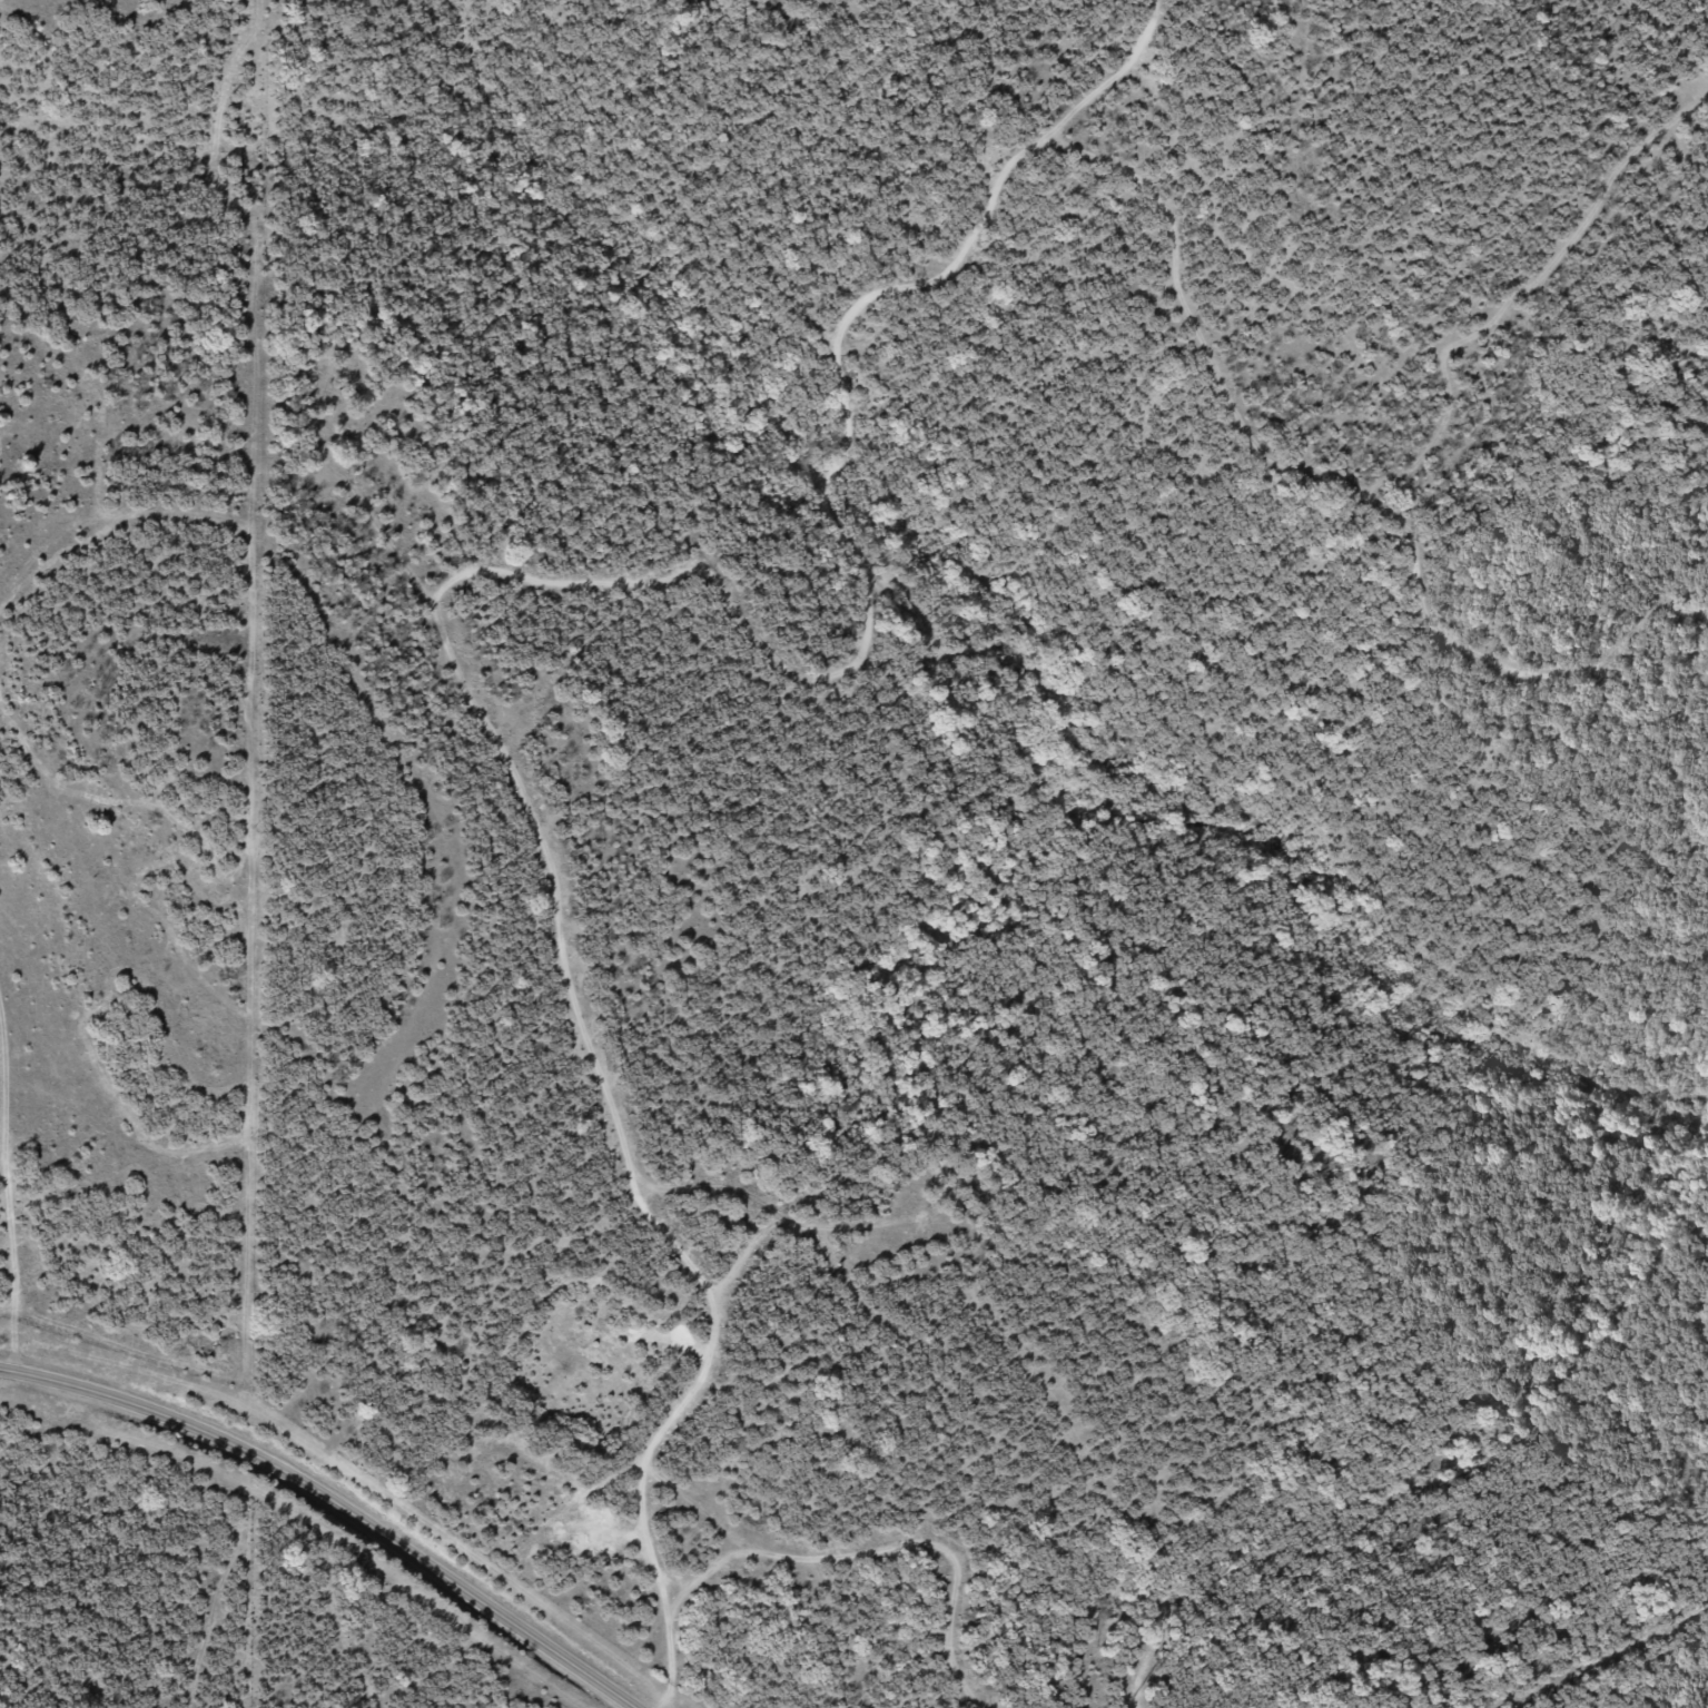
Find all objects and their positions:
park: (124, 842)
road: (336, 1500)

